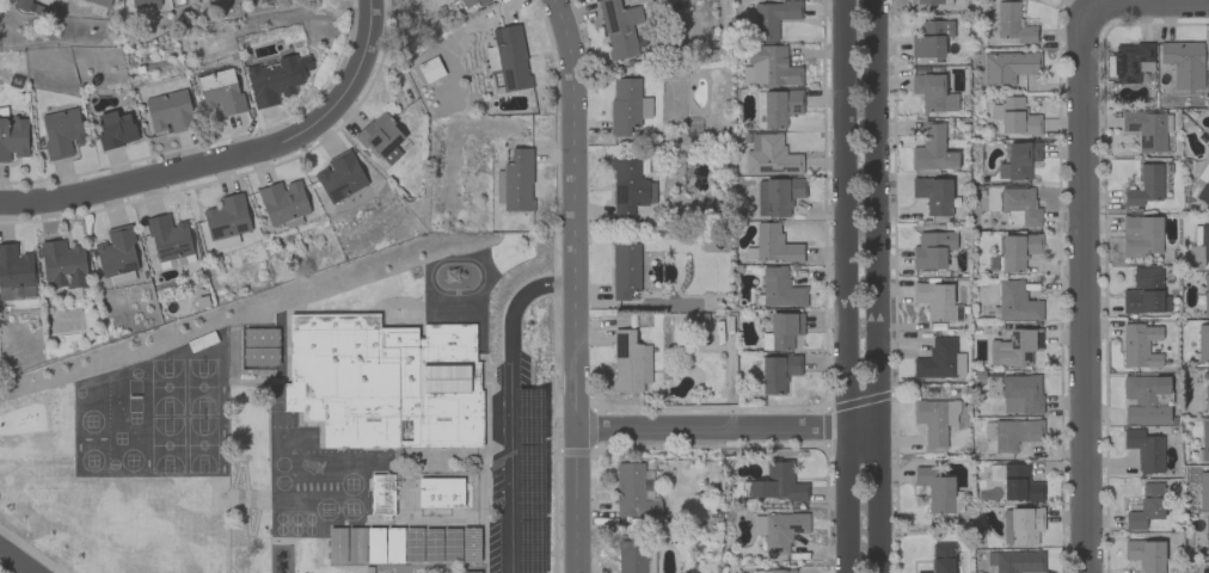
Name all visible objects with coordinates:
road: (1191, 0)
building: (928, 1)
building: (99, 2)
building: (145, 2)
building: (467, 2)
road: (1110, 2)
building: (772, 18)
building: (1012, 24)
building: (931, 38)
building: (1183, 56)
building: (490, 57)
building: (510, 57)
building: (1131, 61)
building: (768, 67)
building: (1008, 67)
building: (430, 69)
building: (276, 79)
building: (220, 91)
building: (932, 92)
building: (626, 105)
building: (779, 106)
building: (170, 111)
building: (1013, 116)
building: (115, 129)
building: (1146, 129)
building: (61, 131)
building: (13, 137)
building: (382, 138)
building: (932, 149)
building: (769, 156)
building: (1018, 160)
road: (232, 161)
building: (340, 177)
building: (516, 181)
building: (1203, 184)
building: (1144, 185)
building: (628, 187)
building: (933, 195)
building: (777, 196)
building: (282, 201)
building: (1019, 207)
building: (227, 217)
building: (1141, 235)
building: (168, 236)
building: (774, 244)
building: (1198, 246)
building: (932, 249)
building: (116, 251)
building: (1014, 252)
building: (62, 264)
building: (624, 270)
building: (16, 273)
road: (573, 284)
road: (847, 285)
road: (878, 286)
road: (1081, 286)
building: (780, 289)
building: (1144, 292)
building: (1205, 294)
building: (937, 302)
building: (1015, 302)
building: (781, 331)
building: (1202, 344)
building: (1140, 345)
building: (1014, 347)
building: (630, 361)
building: (939, 361)
building: (778, 372)
building: (381, 382)
building: (1205, 390)
building: (1020, 393)
building: (1144, 399)
road: (511, 406)
building: (934, 420)
road: (725, 427)
building: (1012, 433)
building: (1204, 439)
building: (1144, 450)
building: (1015, 482)
building: (778, 483)
building: (935, 489)
building: (1203, 489)
building: (440, 492)
building: (633, 492)
building: (381, 494)
building: (1146, 506)
building: (1020, 525)
building: (778, 530)
building: (1207, 534)
building: (1146, 554)
building: (941, 557)
road: (17, 560)
building: (631, 560)
building: (1015, 561)
building: (773, 571)

